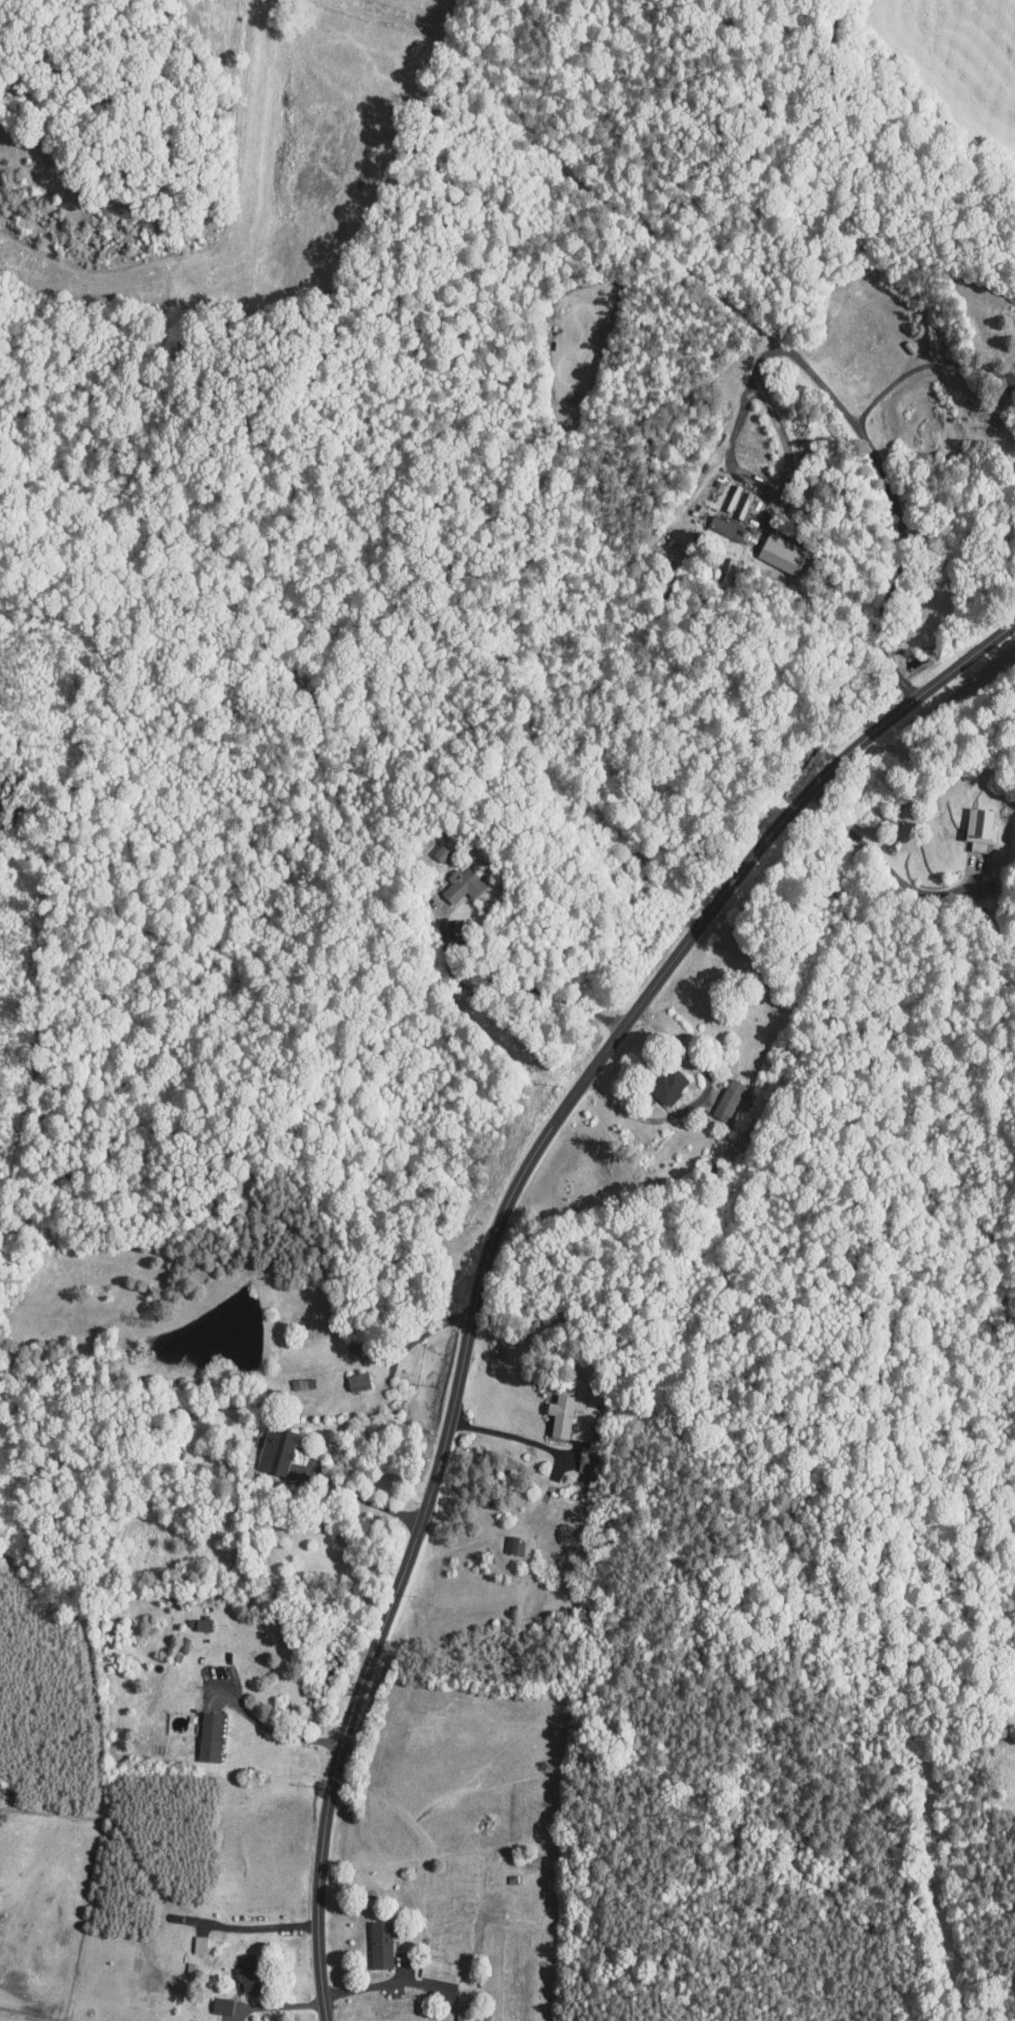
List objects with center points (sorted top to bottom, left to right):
road: (924, 367)
road: (858, 433)
building: (726, 527)
building: (781, 547)
building: (979, 826)
building: (442, 852)
road: (882, 862)
building: (462, 884)
road: (517, 989)
building: (667, 1085)
building: (728, 1099)
road: (697, 1100)
road: (496, 1235)
road: (427, 1330)
building: (357, 1379)
building: (562, 1412)
road: (507, 1434)
building: (277, 1449)
road: (359, 1494)
building: (514, 1544)
building: (202, 1624)
road: (274, 1730)
building: (209, 1736)
road: (255, 1929)
building: (199, 1943)
building: (379, 1944)
building: (439, 1969)
building: (245, 1978)
road: (389, 1983)
building: (220, 2005)
building: (468, 2017)

